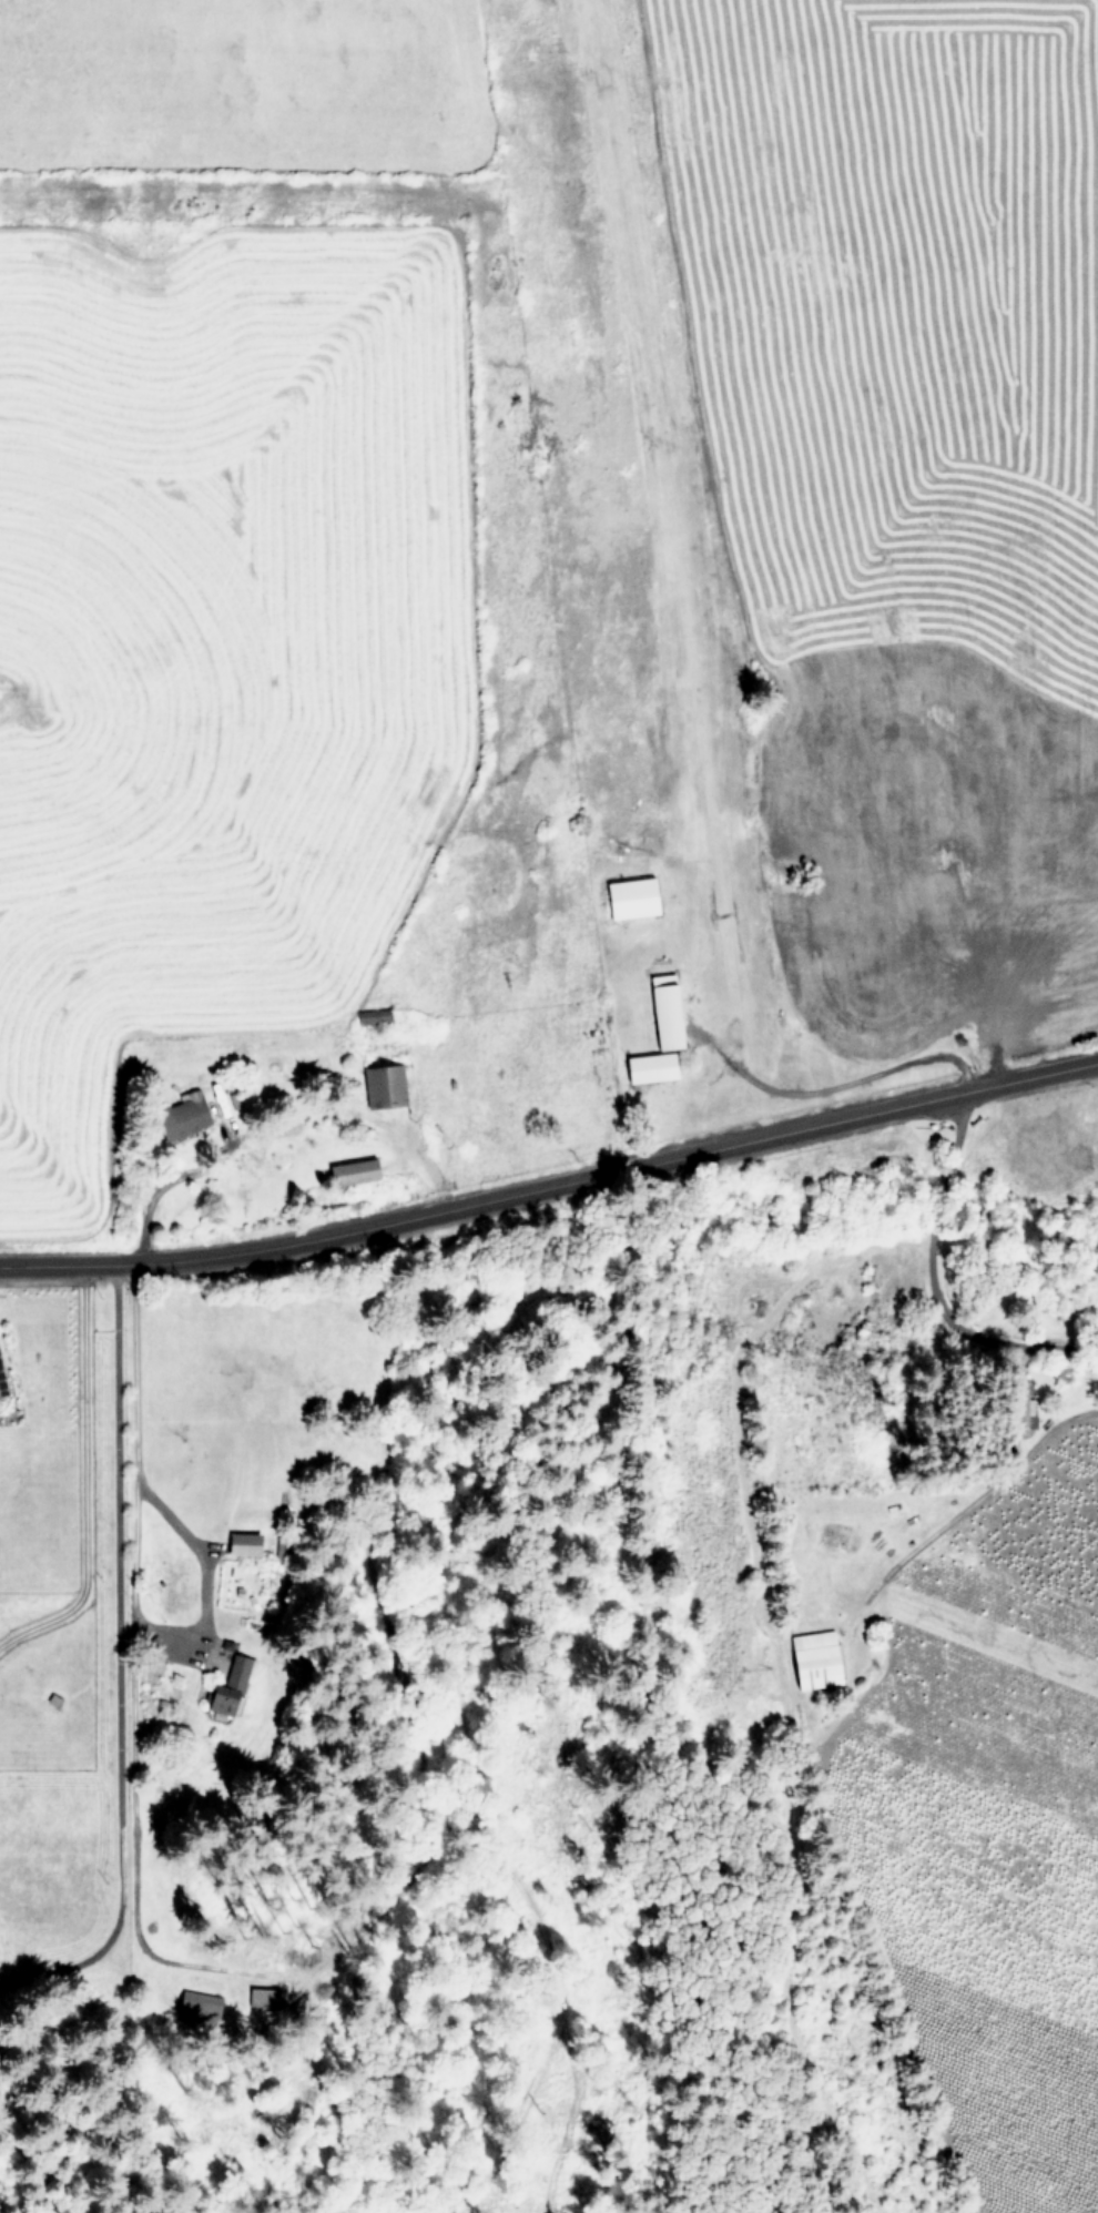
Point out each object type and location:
airport runway: (657, 451)
crop: (537, 573)
building: (627, 897)
building: (660, 1011)
building: (370, 1015)
building: (647, 1066)
road: (860, 1076)
building: (380, 1083)
building: (181, 1117)
building: (349, 1170)
road: (551, 1190)
road: (929, 1290)
building: (1, 1387)
building: (1019, 1411)
road: (84, 1482)
building: (241, 1543)
road: (132, 1562)
building: (812, 1659)
road: (118, 1668)
building: (226, 1685)
building: (261, 1996)
building: (194, 2006)

